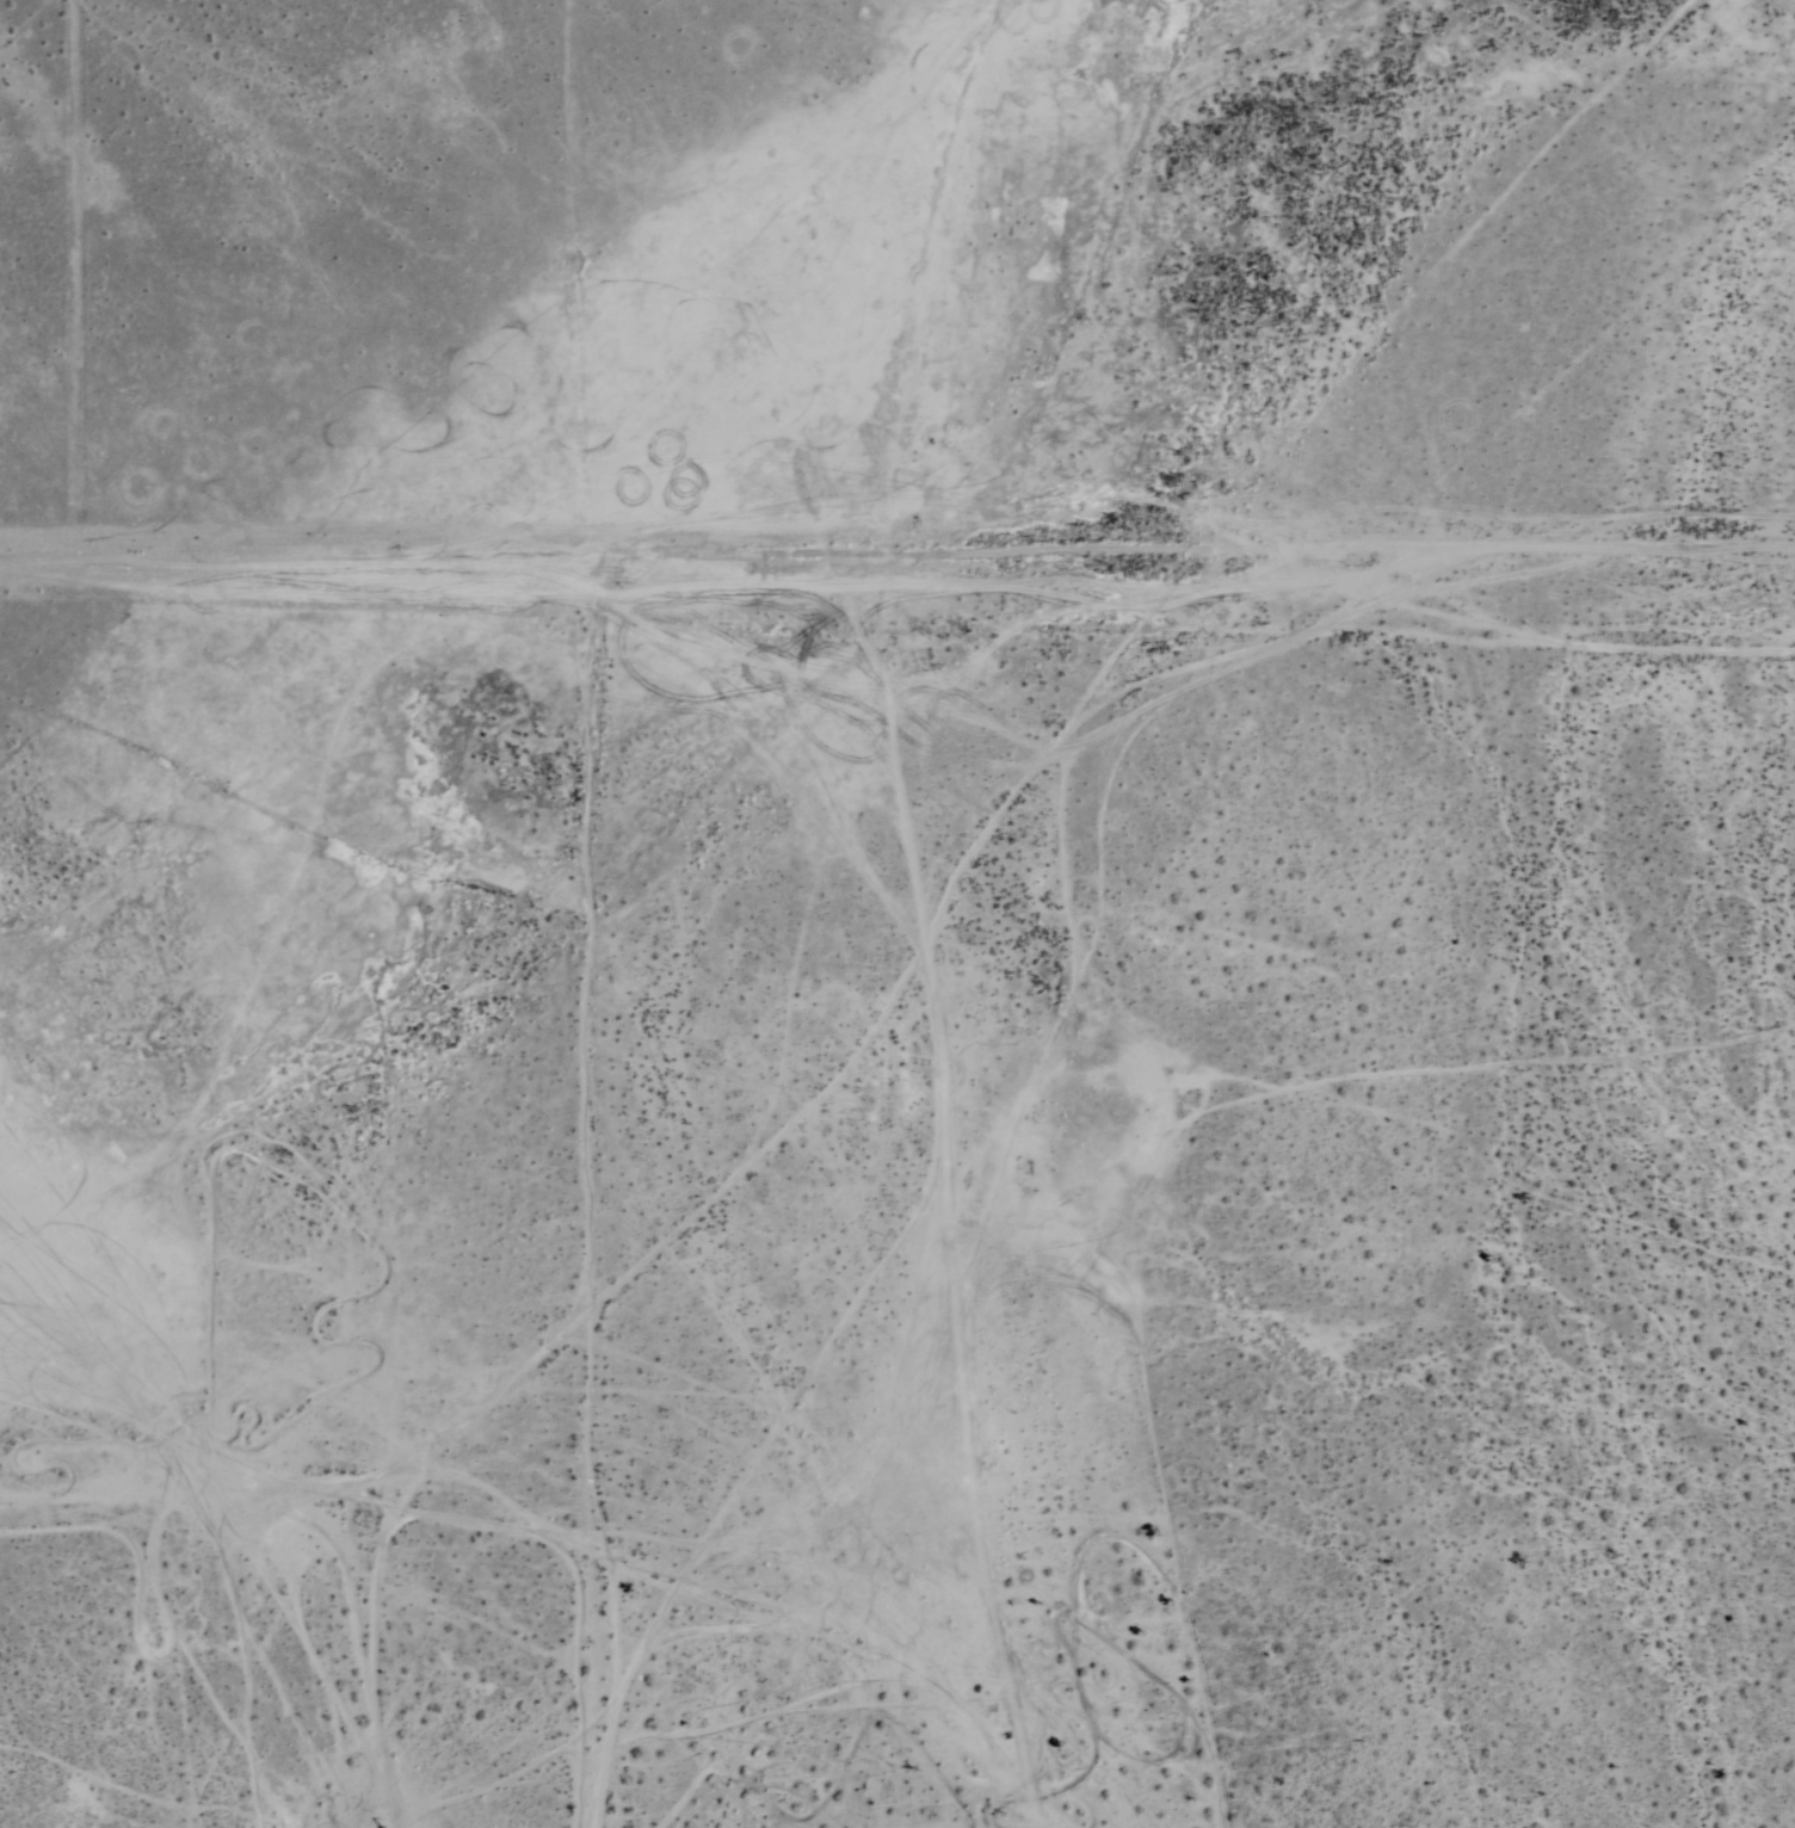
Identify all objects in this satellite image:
road: (606, 290)
road: (894, 631)

